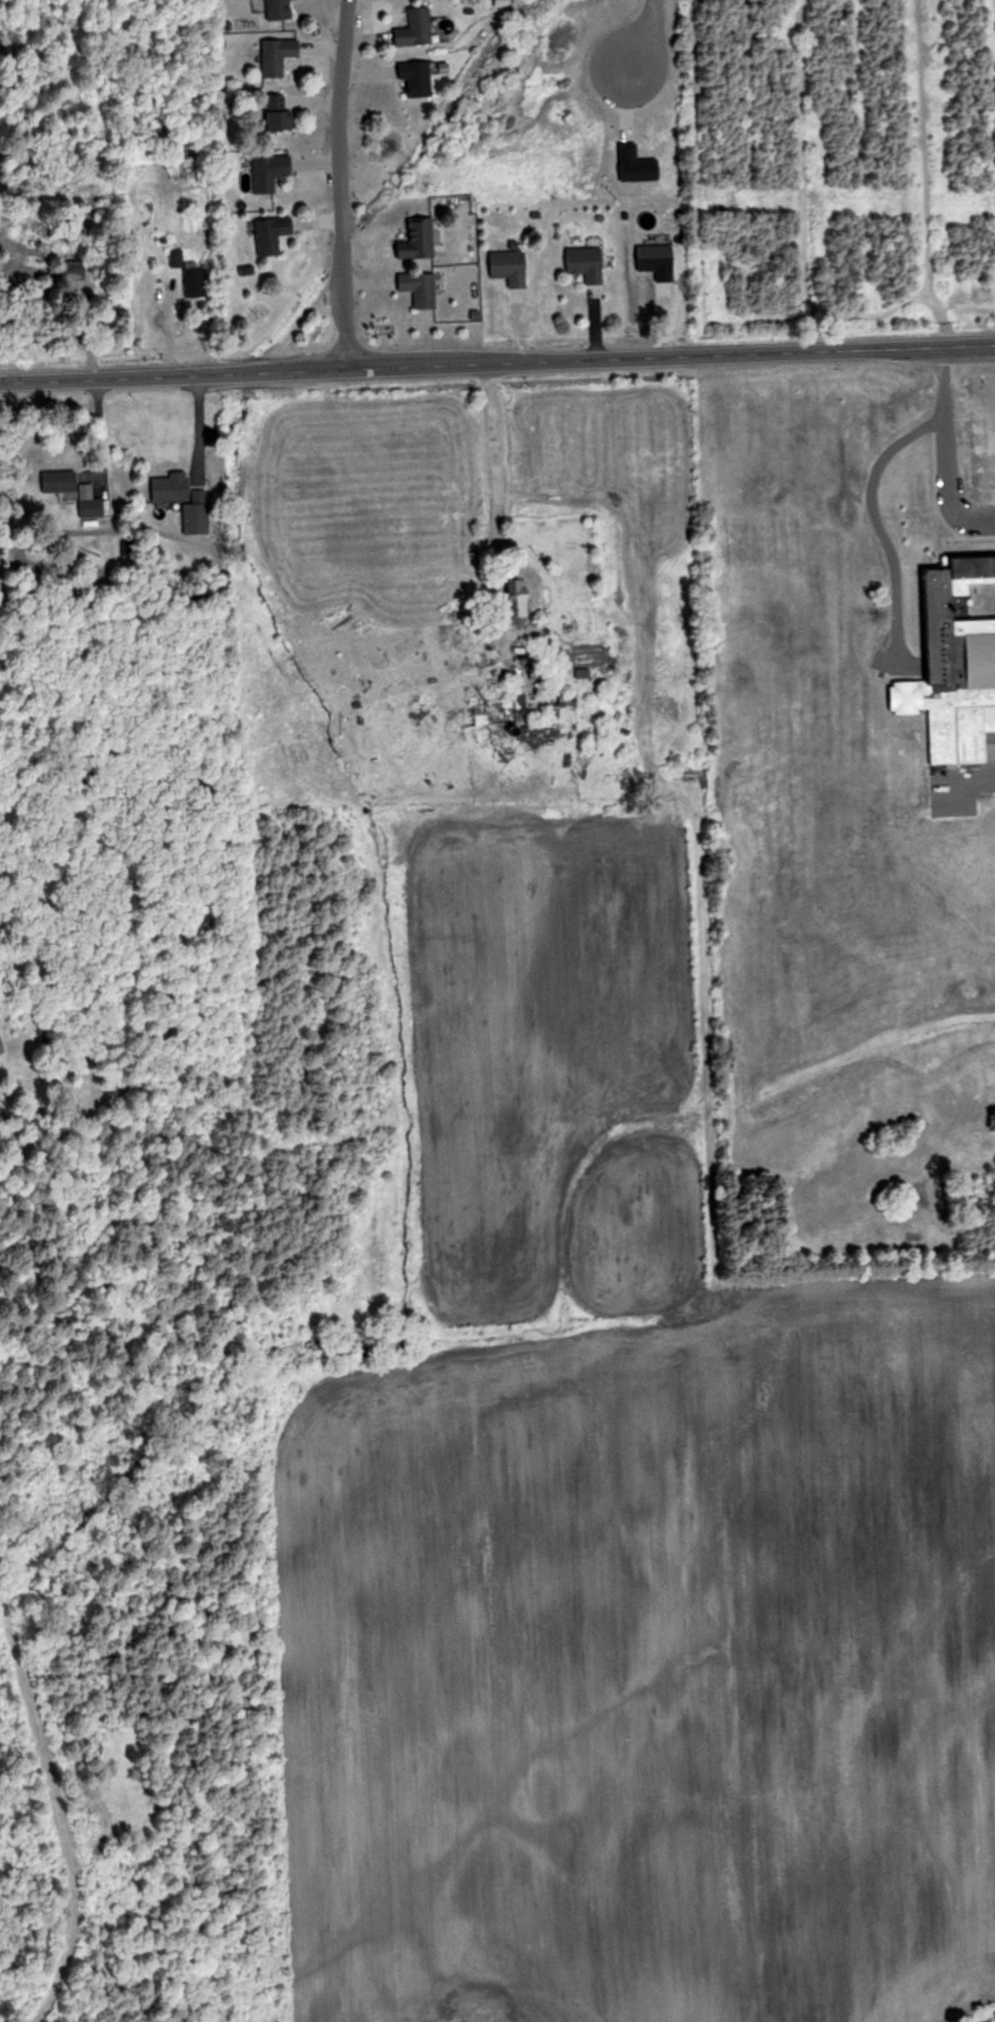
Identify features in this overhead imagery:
building: (280, 11)
building: (416, 29)
road: (644, 35)
building: (282, 59)
building: (418, 78)
building: (281, 115)
building: (270, 172)
road: (338, 183)
building: (273, 235)
building: (418, 239)
building: (658, 261)
building: (177, 263)
building: (587, 264)
building: (510, 267)
building: (196, 282)
building: (421, 289)
road: (497, 362)
road: (489, 450)
road: (937, 457)
building: (60, 481)
building: (176, 490)
building: (91, 508)
building: (955, 665)
building: (1, 1048)

